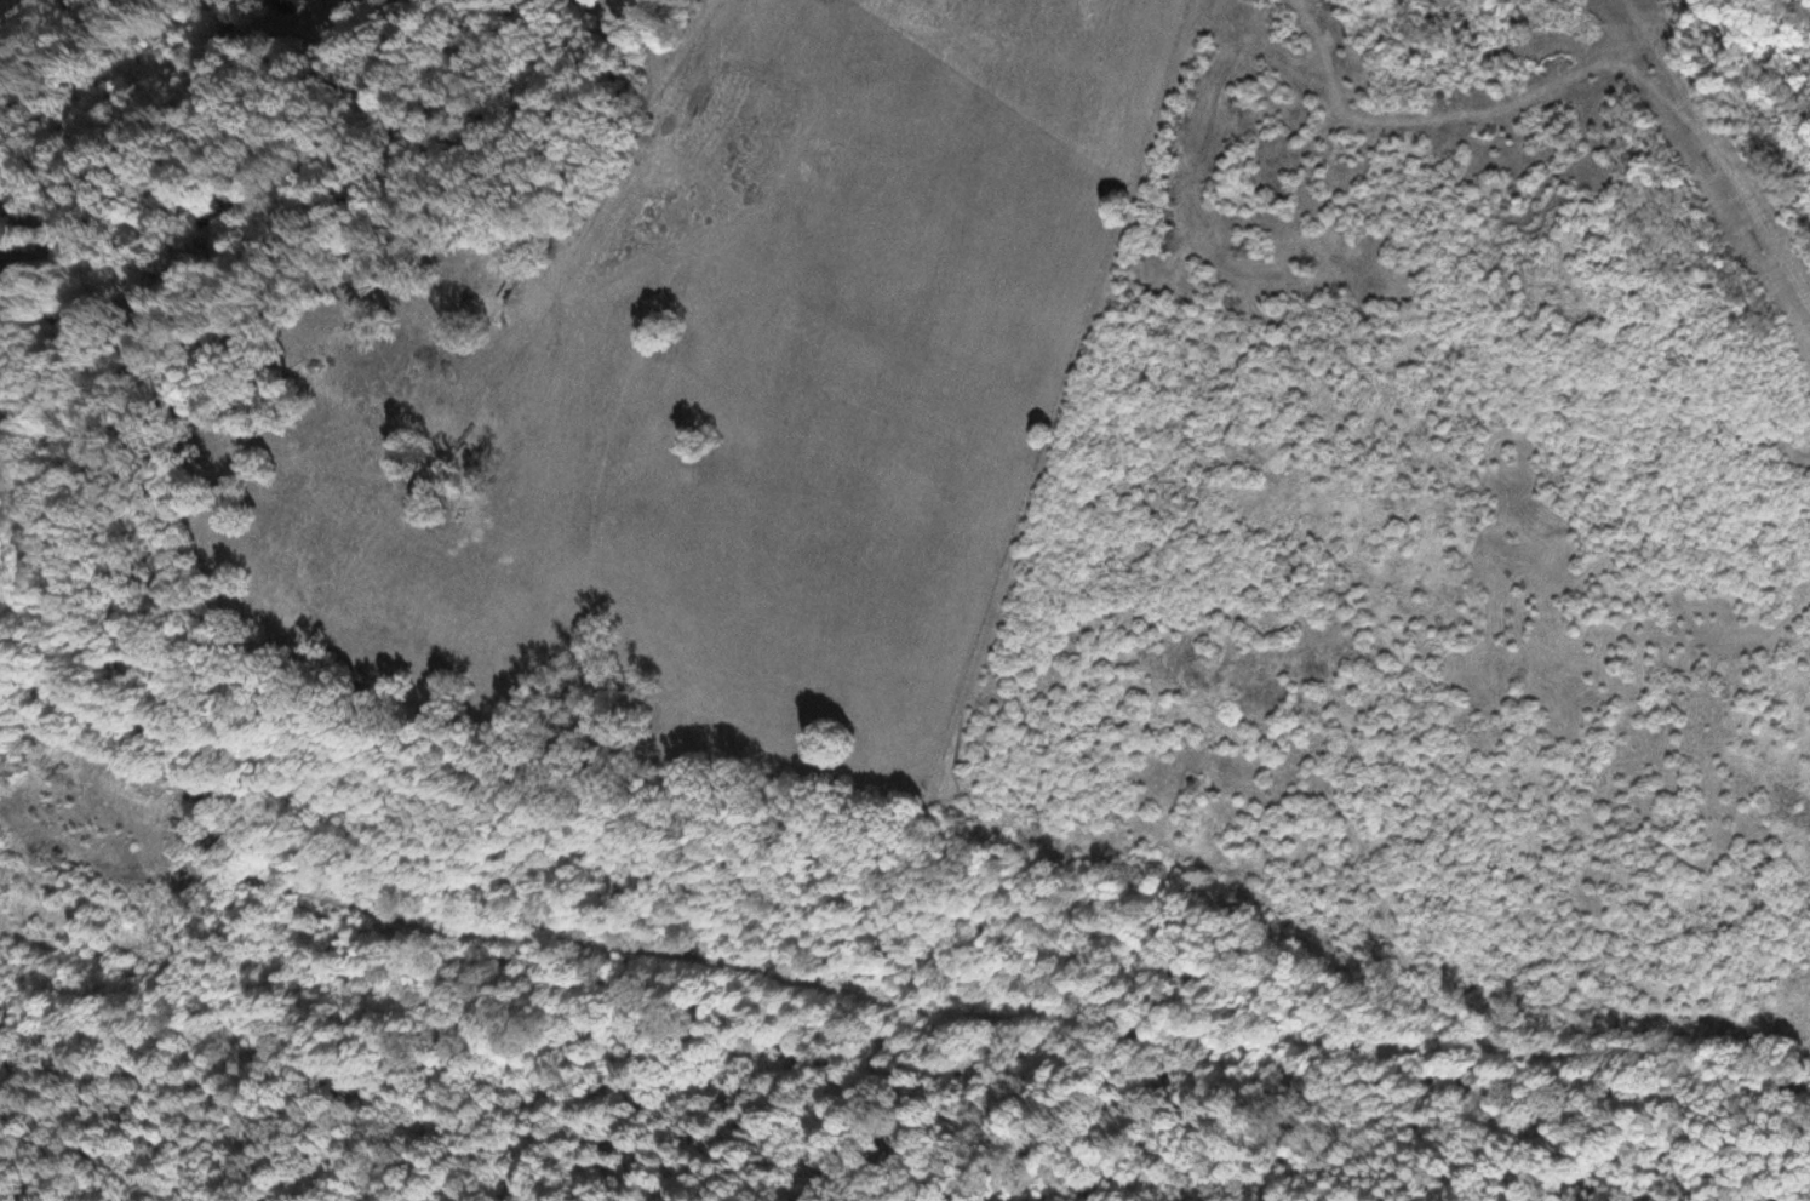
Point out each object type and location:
road: (8, 5)
road: (185, 78)
road: (290, 862)

